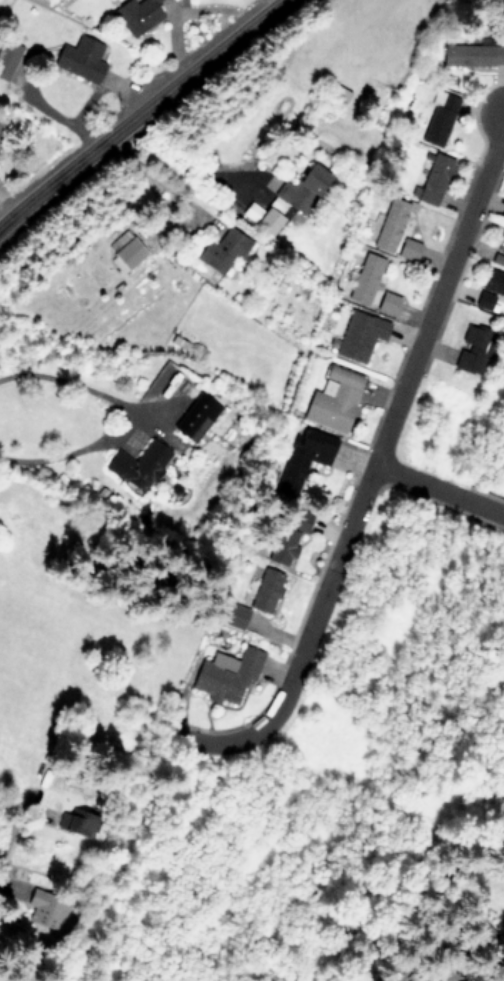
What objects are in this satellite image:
road: (180, 9)
building: (137, 15)
building: (473, 54)
building: (8, 55)
building: (81, 58)
building: (335, 93)
road: (141, 112)
building: (439, 119)
building: (4, 138)
road: (187, 166)
building: (434, 179)
building: (292, 198)
building: (390, 224)
building: (500, 242)
building: (408, 249)
building: (125, 250)
building: (222, 251)
building: (365, 279)
building: (491, 291)
building: (387, 303)
building: (360, 335)
building: (474, 349)
building: (333, 399)
road: (117, 417)
building: (196, 417)
building: (303, 457)
building: (138, 465)
road: (373, 467)
road: (439, 489)
building: (286, 537)
building: (265, 590)
building: (231, 614)
road: (12, 663)
building: (226, 676)
building: (79, 824)
building: (42, 908)
building: (502, 922)
building: (437, 975)

